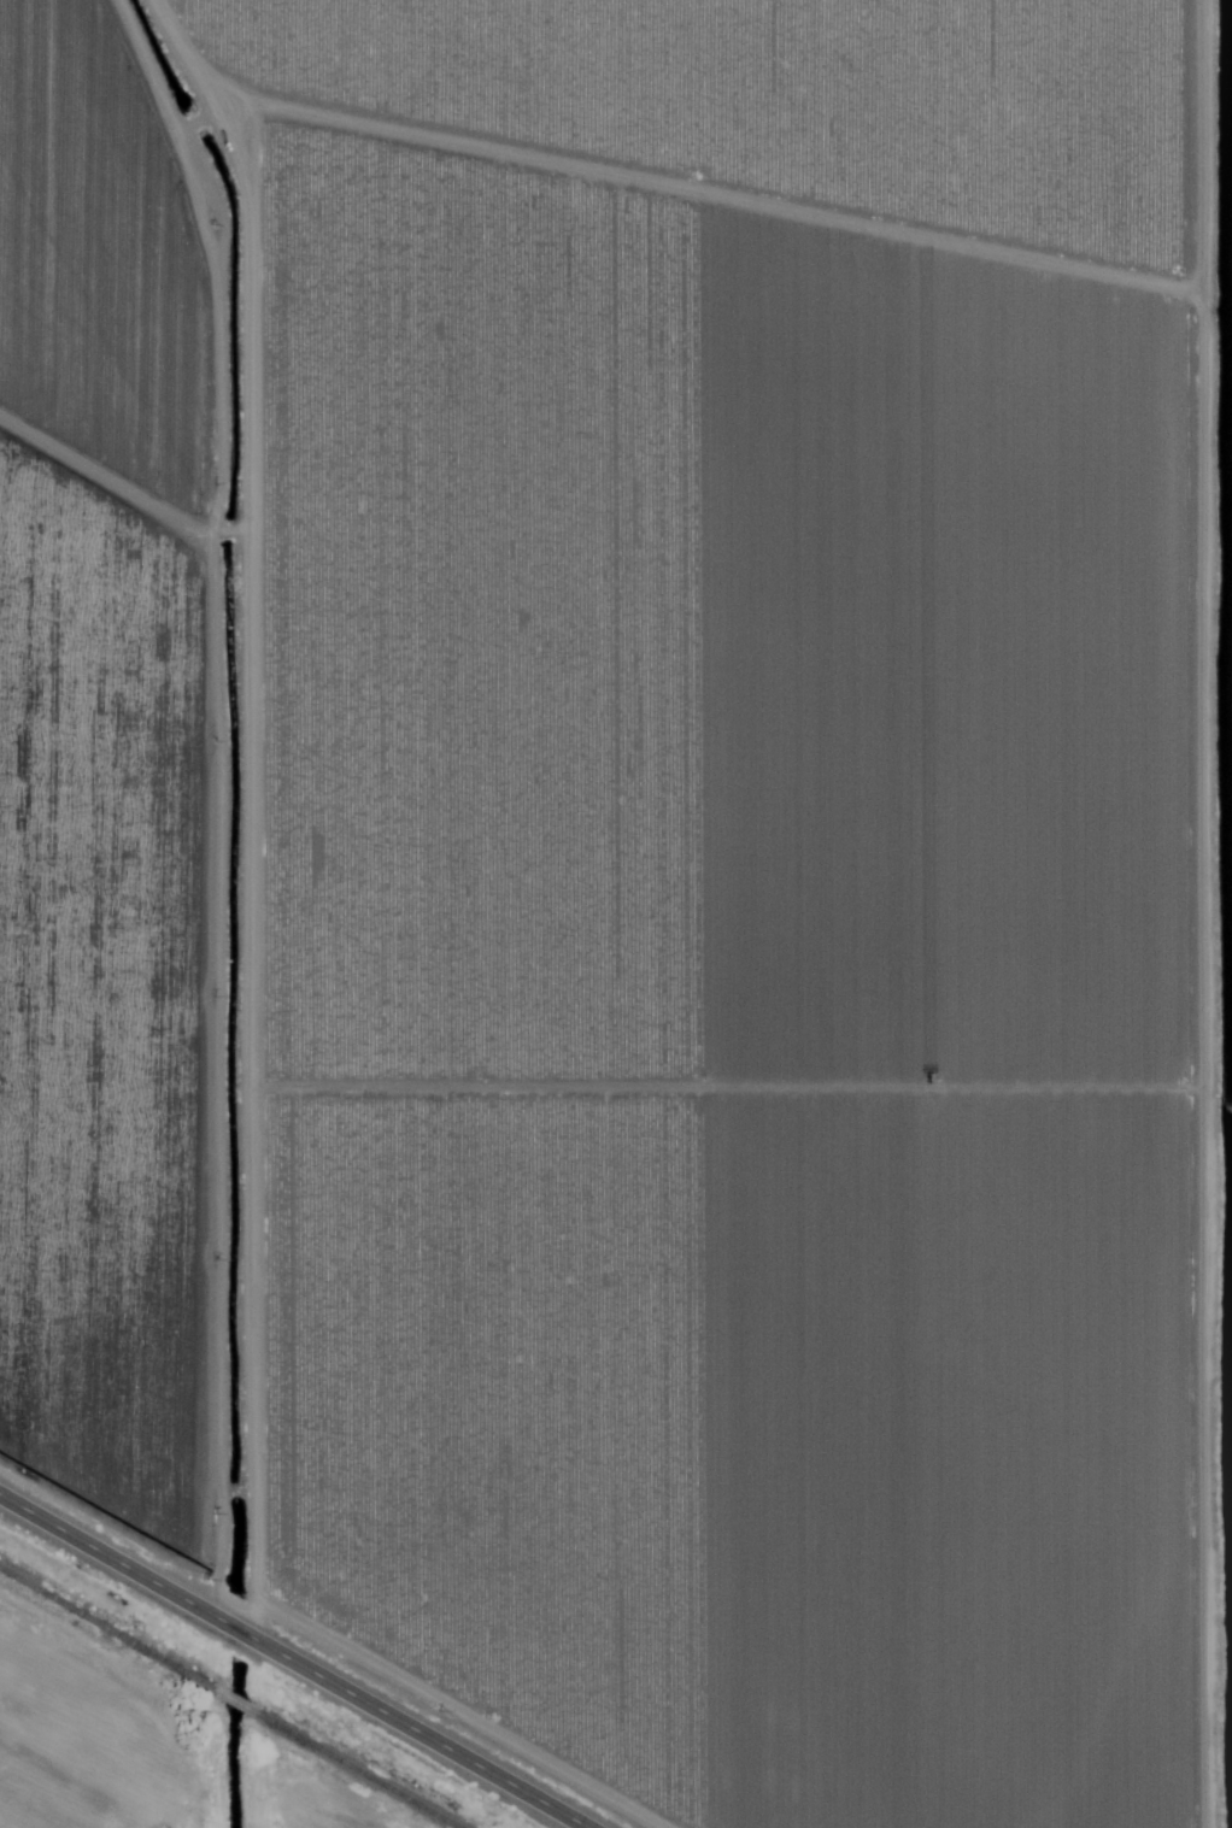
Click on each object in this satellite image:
crop: (787, 110)
road: (682, 154)
road: (264, 852)
road: (1183, 913)
crop: (589, 950)
railway: (111, 1630)
road: (297, 1658)
railway: (236, 1703)
railway: (353, 1769)

